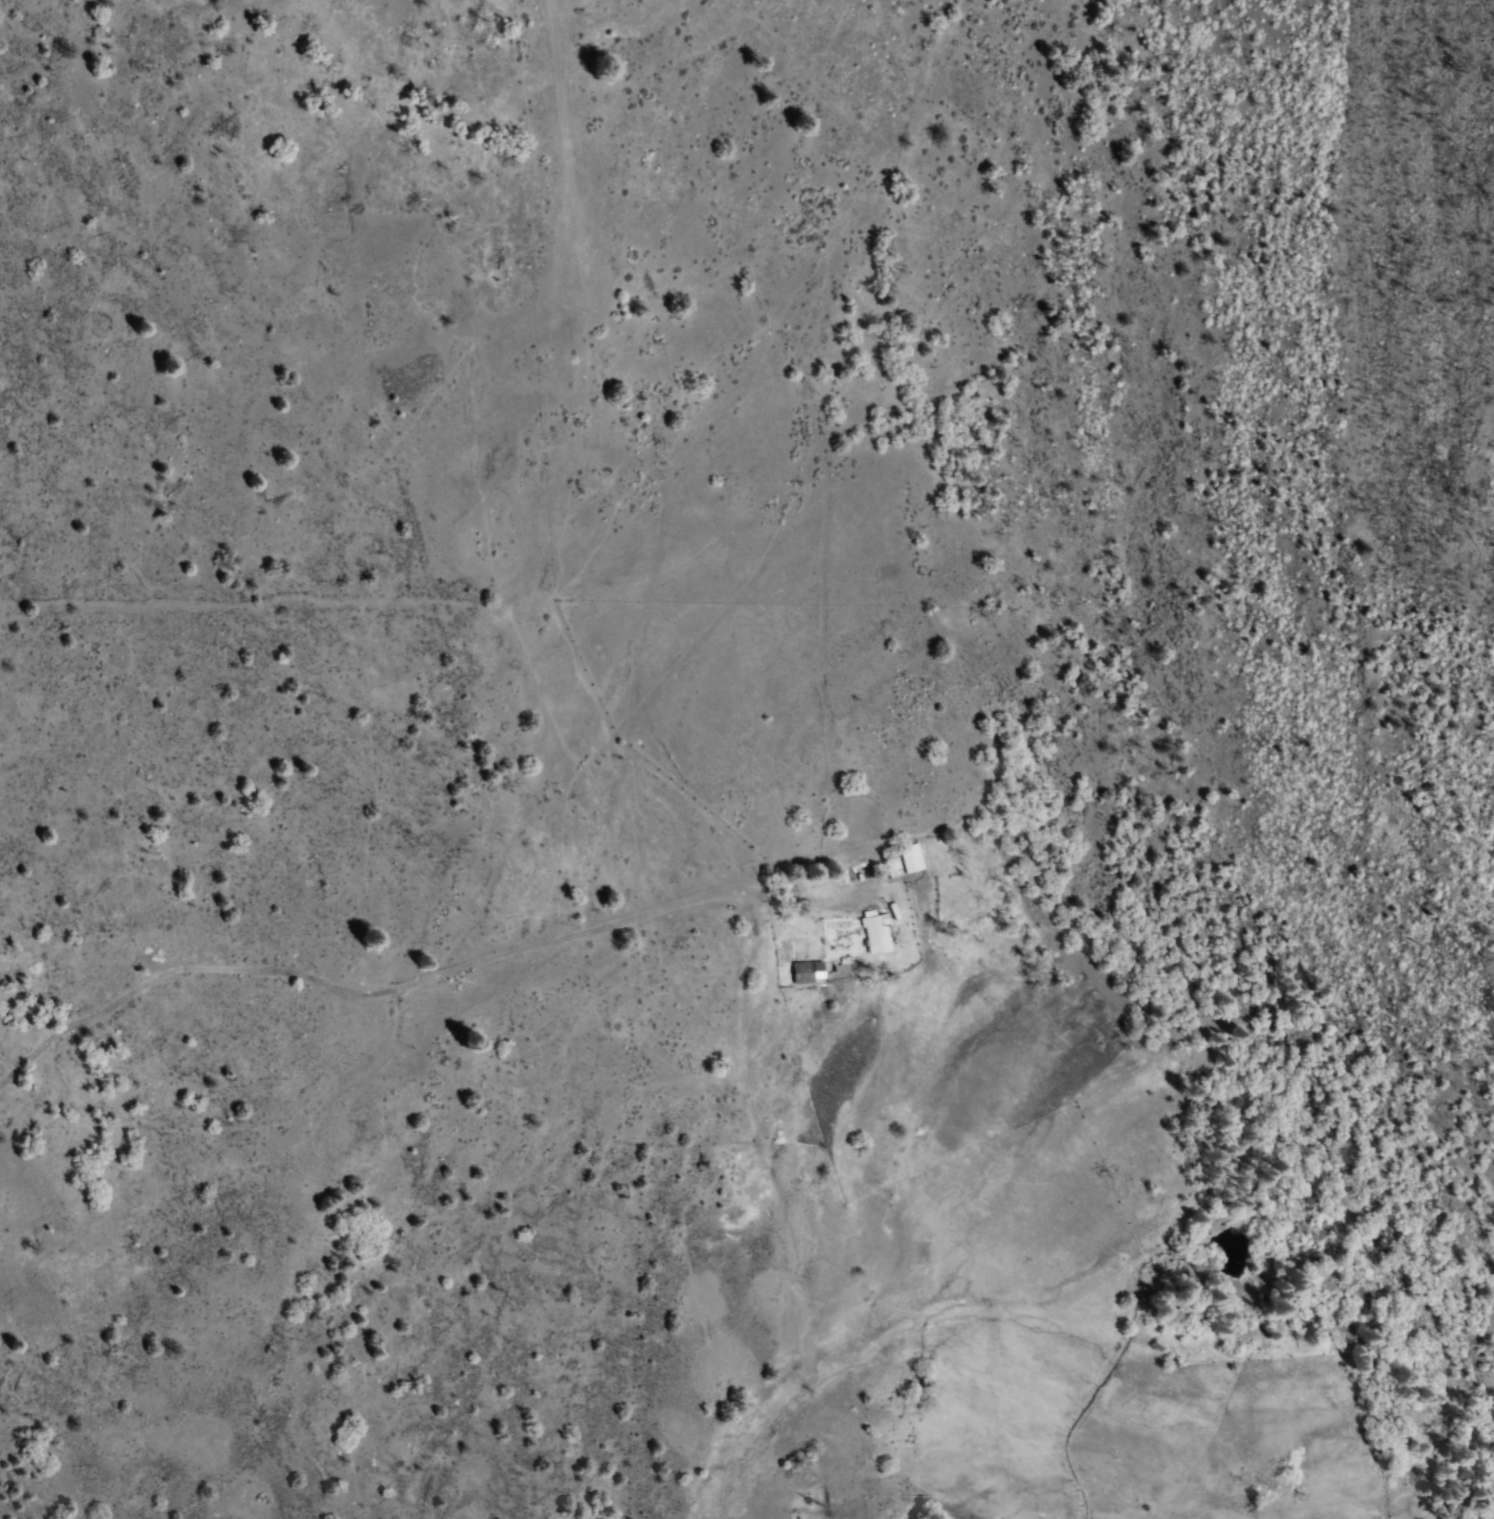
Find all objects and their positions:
road: (413, 603)

